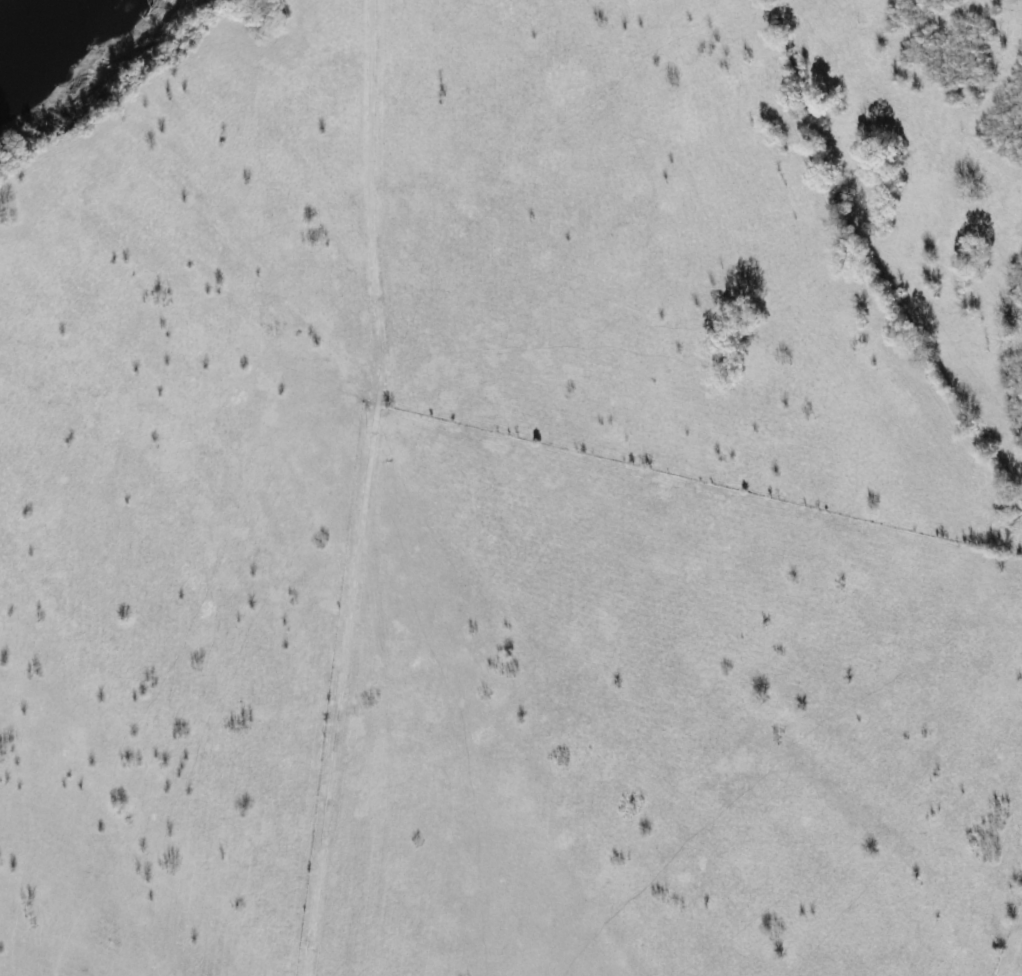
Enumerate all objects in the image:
river: (34, 30)

